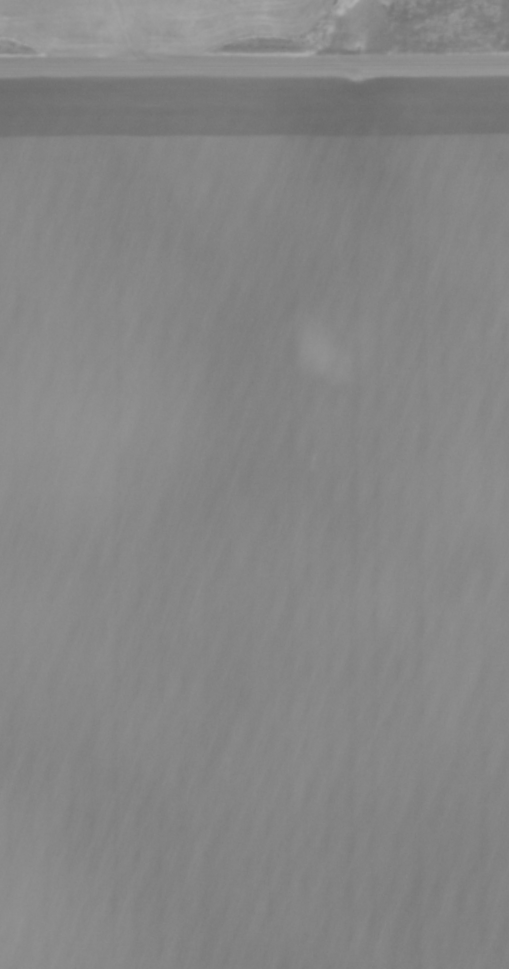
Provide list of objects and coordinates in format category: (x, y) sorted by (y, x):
crop: (163, 22)
crop: (450, 22)
road: (254, 66)
crop: (254, 523)

